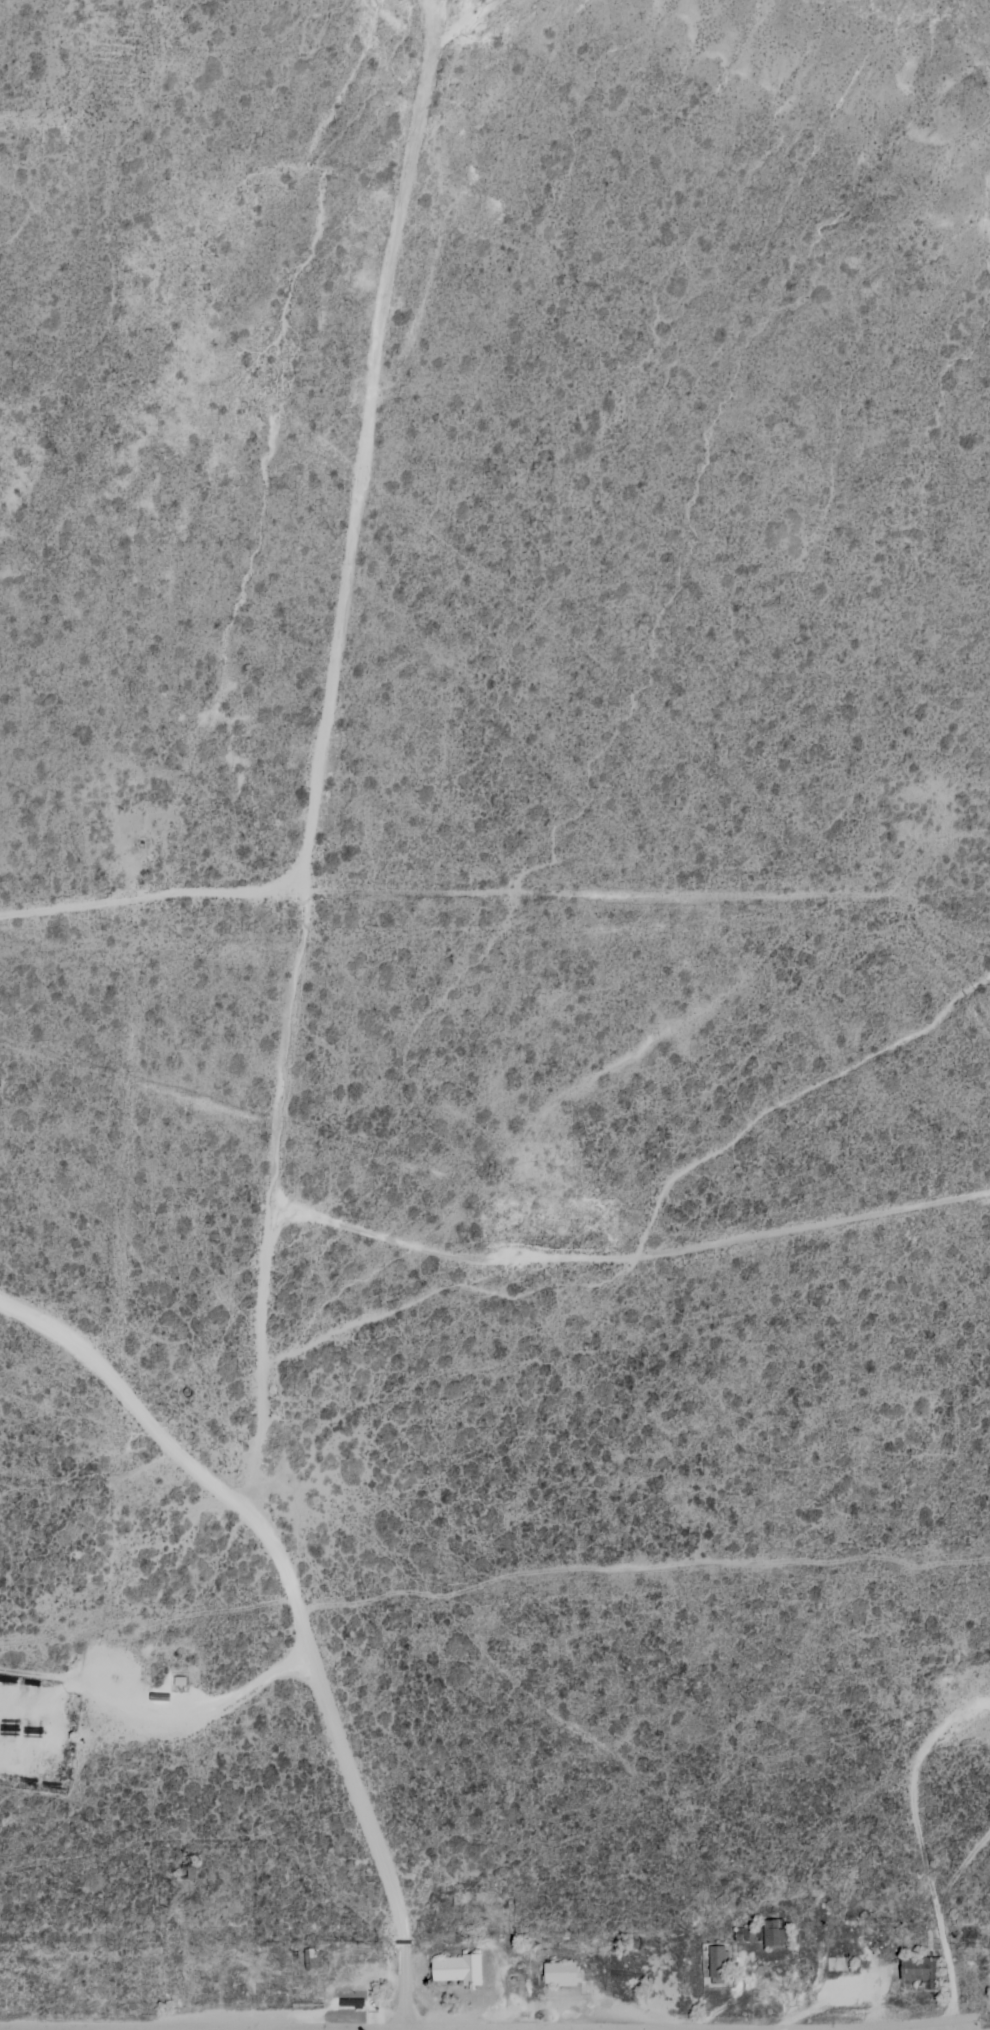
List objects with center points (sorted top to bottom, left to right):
road: (56, 144)
road: (319, 836)
road: (155, 907)
road: (299, 1606)
building: (456, 1970)
building: (919, 1972)
building: (559, 1975)

